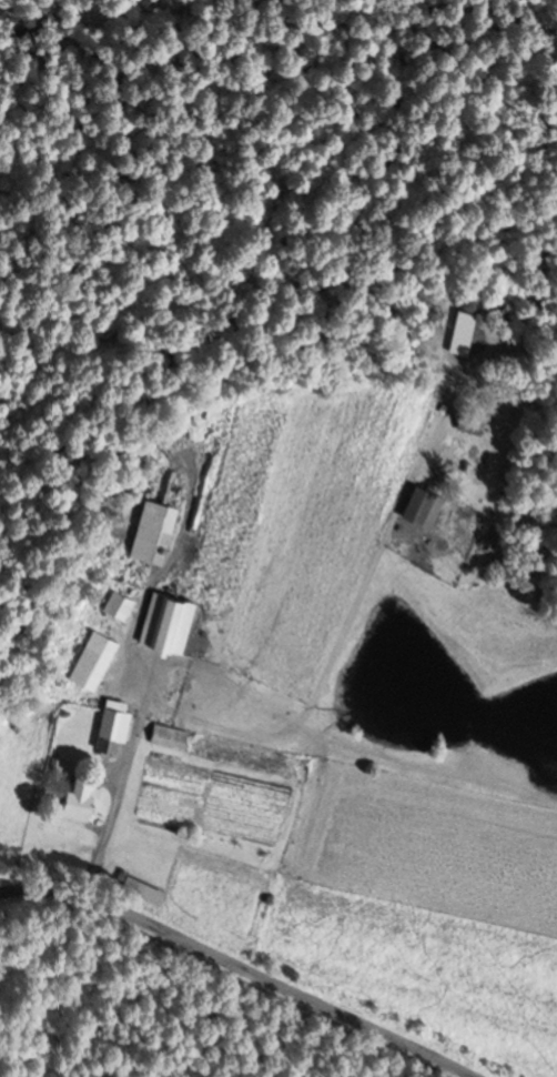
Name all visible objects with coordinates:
road: (237, 970)

